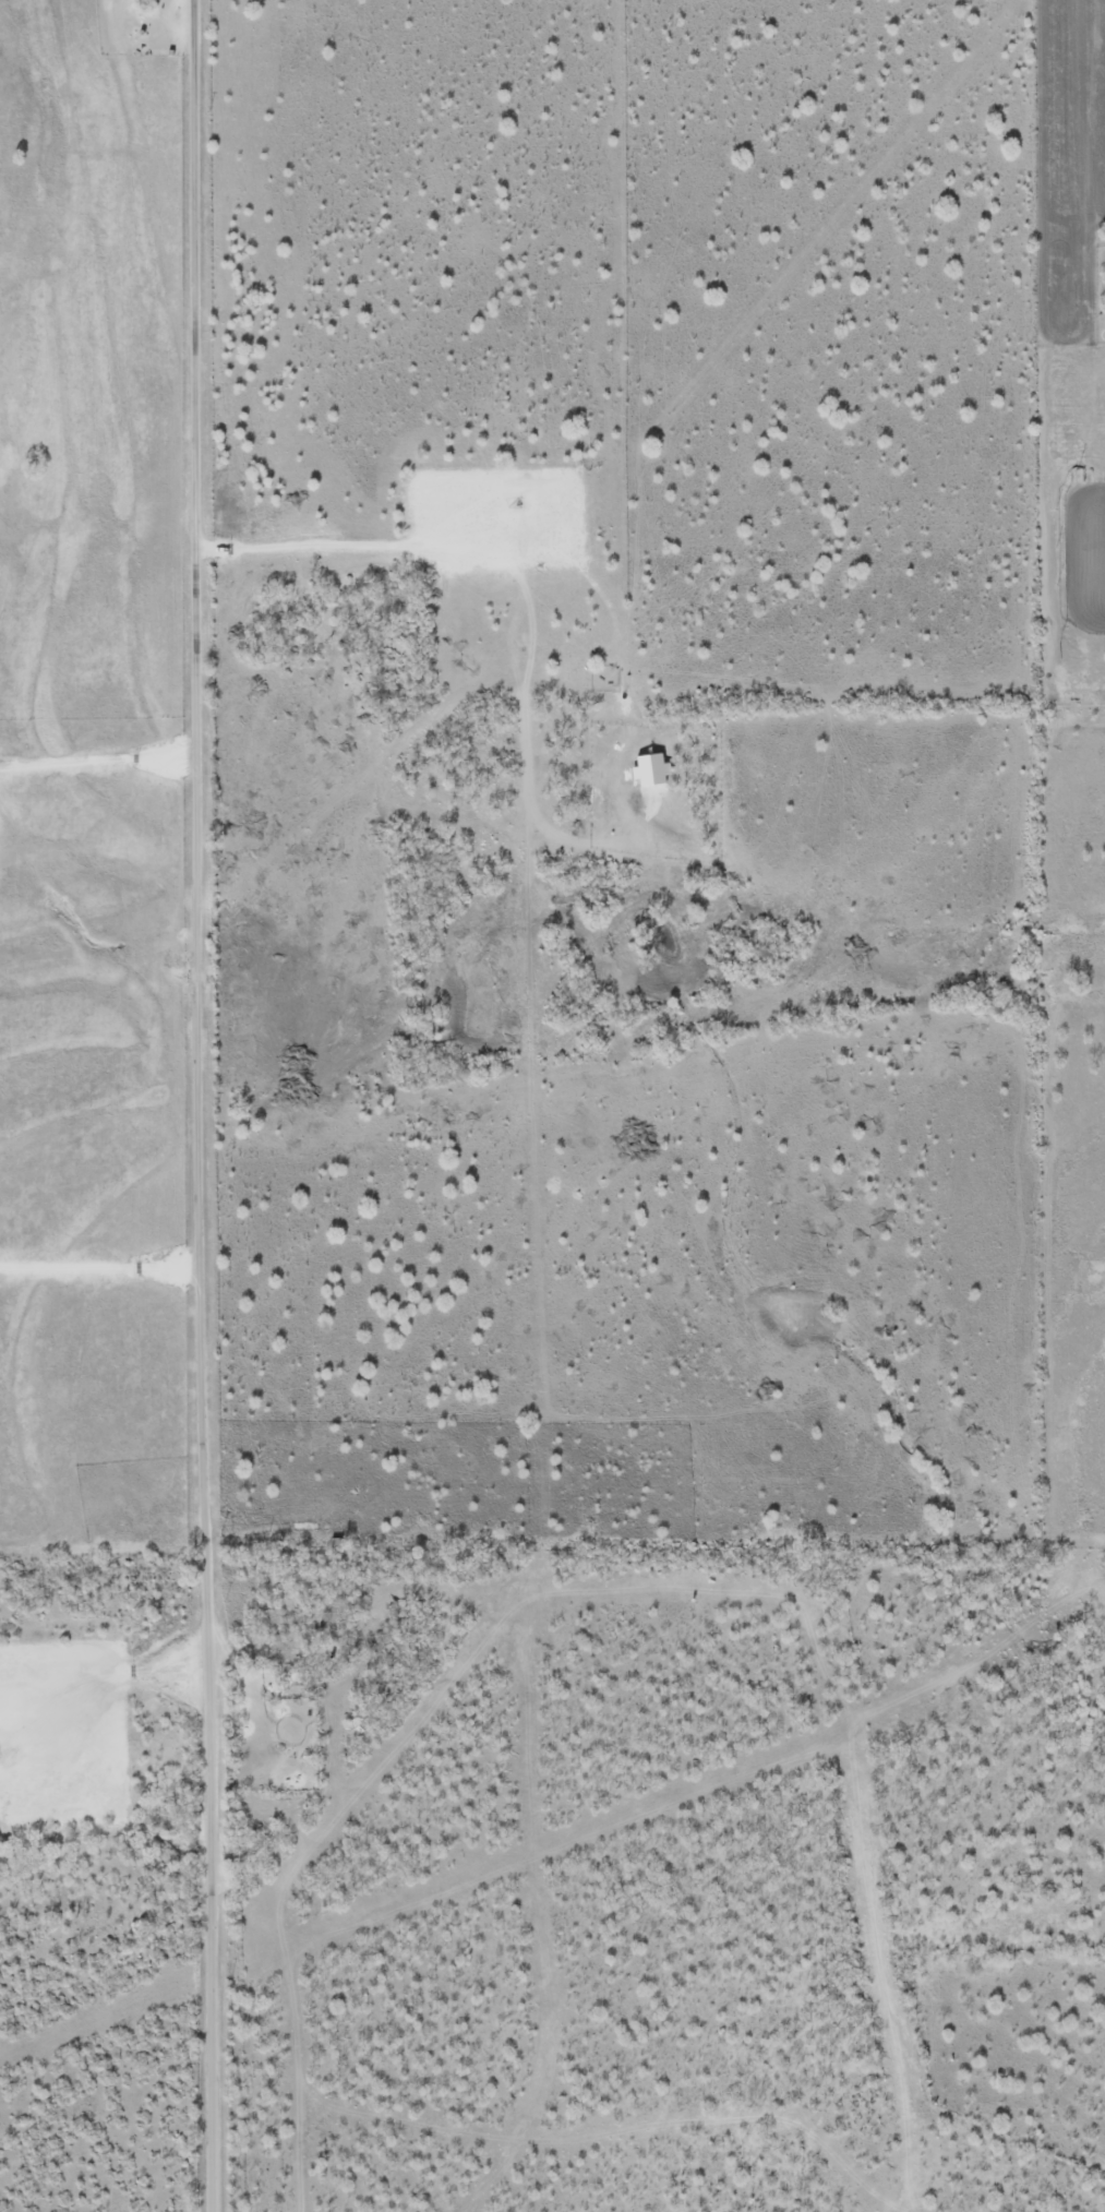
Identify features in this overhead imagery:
road: (208, 1105)

